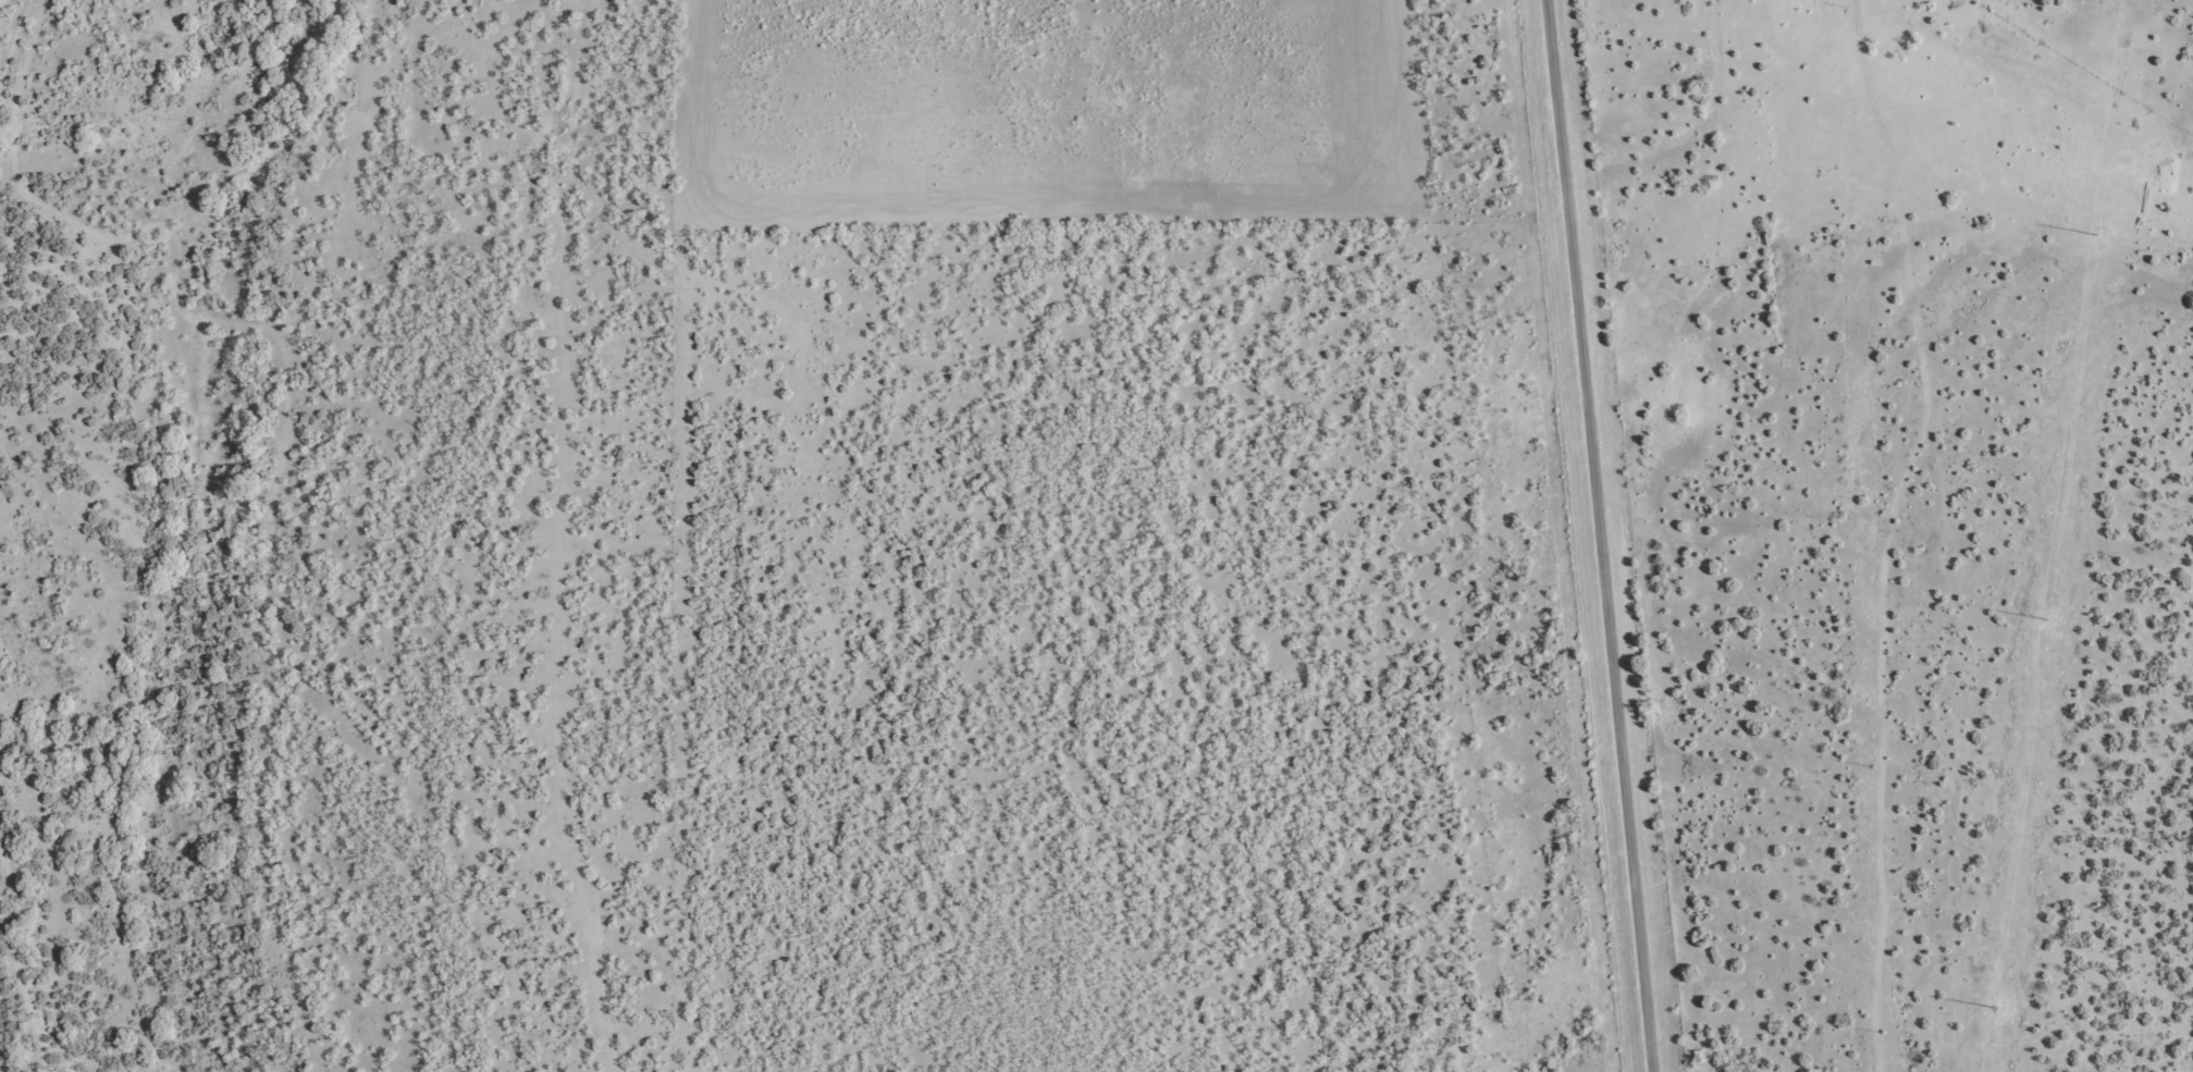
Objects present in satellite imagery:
railway: (19, 63)
power tower: (2095, 238)
river: (207, 535)
road: (2082, 535)
road: (1602, 537)
power tower: (2046, 625)
railway: (33, 968)
power tower: (1997, 1013)

